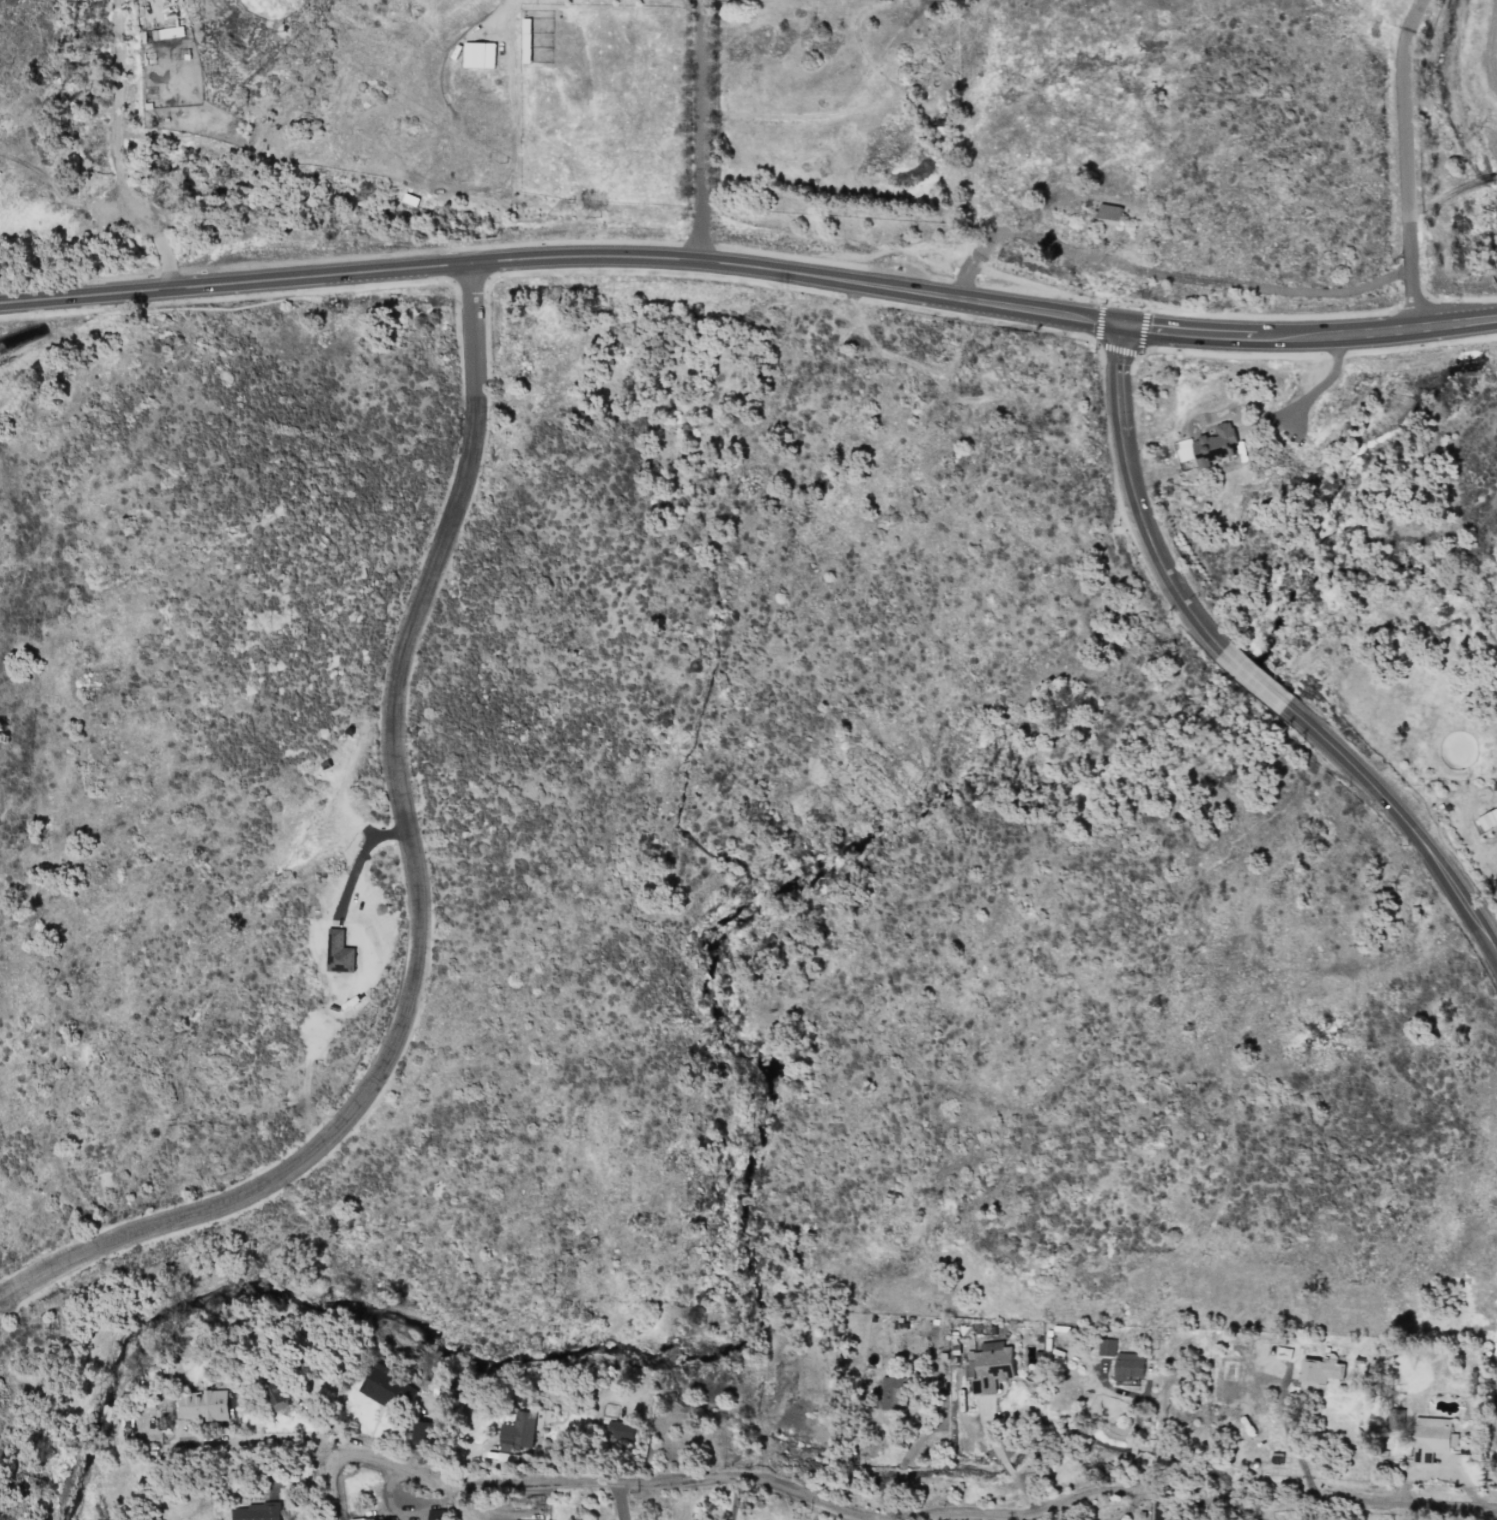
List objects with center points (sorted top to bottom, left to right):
building: (526, 40)
building: (479, 55)
road: (700, 130)
road: (114, 152)
road: (1399, 161)
building: (1109, 214)
road: (559, 257)
road: (1159, 273)
traffic signals: (1115, 329)
road: (1306, 338)
road: (1320, 397)
building: (1214, 445)
road: (1249, 675)
building: (1488, 819)
road: (361, 854)
road: (419, 890)
building: (339, 953)
building: (1105, 1347)
building: (1128, 1366)
building: (991, 1367)
building: (1321, 1369)
building: (383, 1385)
building: (894, 1393)
building: (277, 1396)
building: (204, 1405)
road: (1136, 1412)
building: (1395, 1418)
building: (522, 1429)
building: (620, 1429)
road: (989, 1429)
building: (420, 1432)
road: (927, 1433)
building: (1431, 1438)
road: (262, 1439)
road: (1291, 1439)
road: (1132, 1451)
road: (1006, 1466)
road: (1129, 1473)
road: (896, 1476)
road: (748, 1480)
road: (441, 1484)
road: (1025, 1493)
road: (1206, 1496)
road: (620, 1500)
road: (733, 1500)
road: (892, 1502)
building: (257, 1511)
building: (435, 1514)

